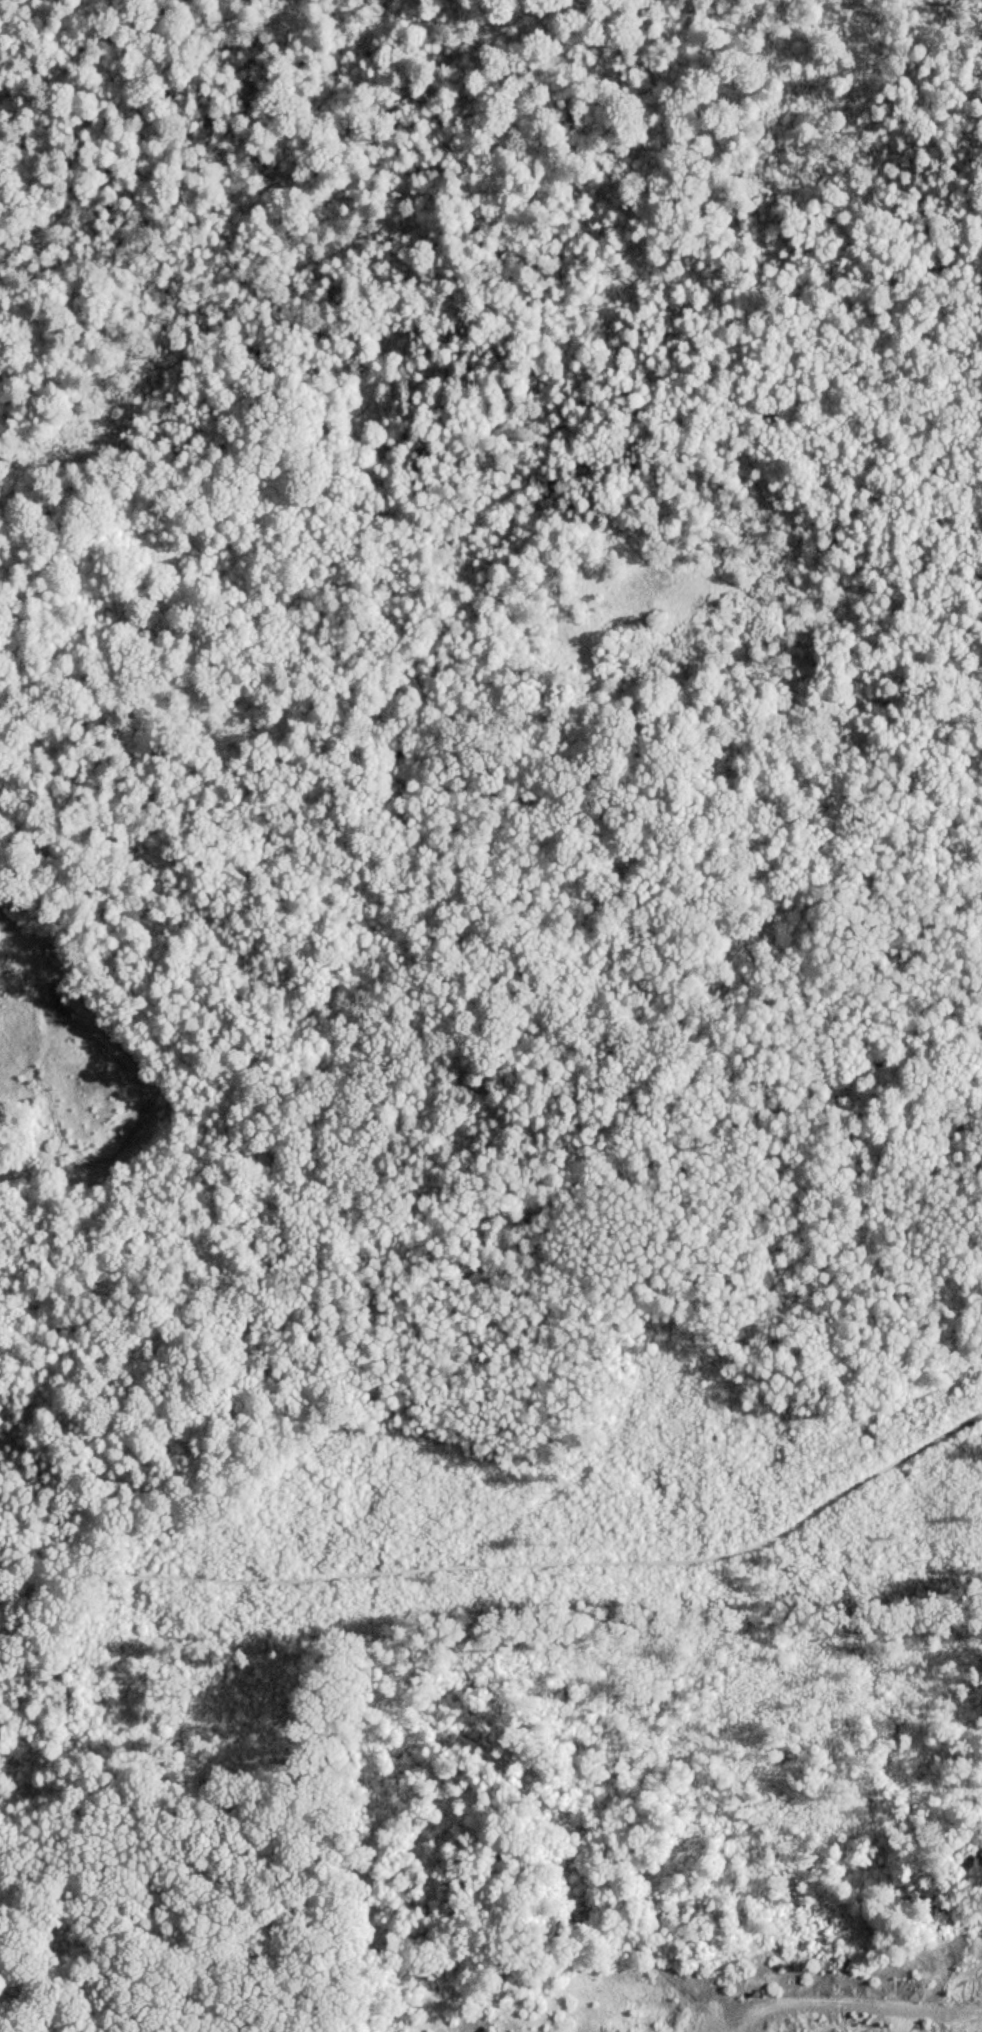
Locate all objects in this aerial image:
road: (500, 1568)

